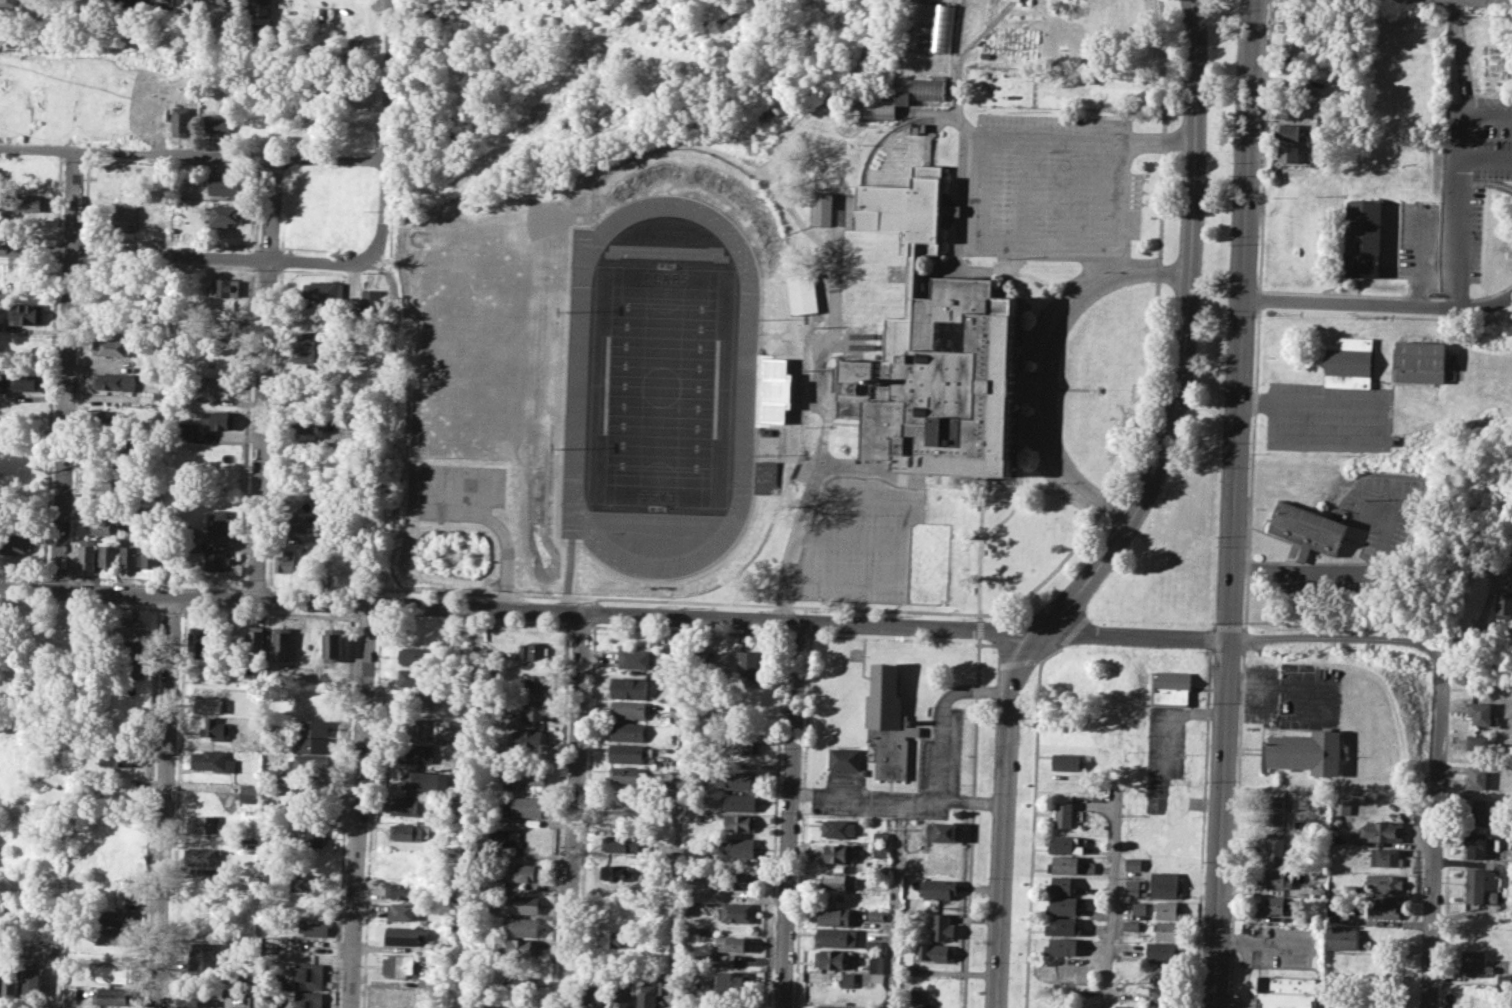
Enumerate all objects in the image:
building: (9, 0)
building: (1016, 0)
building: (31, 1)
building: (133, 2)
building: (162, 4)
building: (193, 4)
building: (110, 5)
building: (225, 5)
building: (256, 8)
building: (1288, 20)
building: (934, 27)
building: (1293, 43)
road: (966, 52)
road: (1460, 63)
building: (1292, 64)
road: (385, 79)
building: (909, 99)
building: (1285, 108)
building: (180, 121)
building: (216, 122)
road: (1473, 123)
building: (1286, 131)
road: (1052, 134)
road: (191, 154)
building: (1285, 154)
road: (1486, 159)
parking lot: (1053, 181)
road: (1497, 184)
building: (224, 185)
parking lot: (1457, 197)
building: (29, 201)
road: (382, 206)
building: (822, 207)
building: (908, 208)
building: (953, 210)
building: (125, 214)
building: (226, 215)
building: (1363, 226)
road: (1159, 230)
road: (1044, 243)
road: (982, 252)
road: (134, 254)
road: (1419, 255)
road: (322, 261)
road: (1457, 263)
road: (1013, 272)
building: (225, 287)
building: (804, 290)
building: (324, 291)
building: (372, 302)
road: (1349, 304)
road: (395, 306)
building: (23, 312)
road: (1025, 314)
road: (493, 315)
road: (1257, 315)
building: (1, 326)
road: (832, 330)
building: (312, 338)
building: (112, 346)
building: (308, 356)
building: (1346, 361)
building: (1420, 361)
road: (1049, 365)
road: (65, 371)
park: (673, 376)
track: (599, 377)
road: (264, 378)
track: (675, 378)
building: (19, 380)
building: (112, 381)
building: (942, 382)
building: (217, 383)
building: (574, 385)
stadium: (574, 385)
road: (1060, 386)
flagpole: (1083, 388)
parking lot: (467, 389)
building: (772, 391)
stadium: (772, 391)
road: (1147, 391)
park: (1192, 394)
building: (105, 417)
building: (219, 417)
building: (310, 423)
building: (186, 431)
road: (1364, 440)
building: (103, 445)
road: (446, 447)
road: (522, 458)
building: (766, 475)
building: (573, 478)
building: (103, 482)
road: (1006, 485)
road: (811, 493)
road: (1234, 504)
building: (140, 505)
road: (532, 506)
road: (551, 509)
road: (982, 516)
road: (1130, 518)
building: (217, 522)
building: (304, 524)
building: (102, 527)
road: (501, 527)
building: (1307, 528)
parking lot: (857, 540)
building: (15, 543)
building: (196, 546)
building: (87, 552)
building: (108, 556)
building: (128, 556)
building: (149, 556)
building: (216, 560)
building: (285, 562)
road: (1343, 571)
road: (511, 578)
road: (681, 600)
building: (1504, 604)
road: (1006, 606)
road: (979, 616)
road: (1480, 616)
road: (722, 618)
building: (128, 626)
road: (979, 628)
road: (1243, 639)
building: (199, 642)
building: (255, 643)
building: (282, 643)
building: (332, 644)
building: (530, 650)
road: (1225, 651)
road: (1241, 652)
building: (413, 654)
building: (636, 656)
building: (747, 662)
building: (128, 668)
building: (411, 677)
building: (532, 684)
building: (628, 686)
building: (1169, 687)
parking lot: (1293, 694)
building: (320, 695)
building: (415, 697)
building: (211, 705)
building: (628, 709)
building: (530, 711)
building: (1480, 711)
road: (941, 713)
building: (888, 722)
building: (313, 726)
building: (411, 726)
building: (215, 728)
building: (626, 731)
building: (528, 737)
building: (17, 742)
building: (1479, 744)
building: (312, 745)
building: (741, 746)
parking lot: (939, 751)
building: (629, 752)
building: (1304, 752)
building: (415, 753)
parking lot: (1163, 754)
building: (118, 757)
building: (845, 759)
building: (212, 761)
building: (1066, 761)
building: (311, 763)
building: (16, 766)
building: (527, 774)
building: (627, 774)
building: (1476, 775)
building: (737, 780)
building: (424, 782)
building: (15, 790)
building: (250, 792)
road: (899, 798)
building: (739, 801)
road: (162, 802)
building: (523, 805)
building: (1341, 805)
road: (360, 806)
building: (408, 806)
road: (573, 809)
building: (621, 809)
building: (1276, 809)
building: (1478, 811)
road: (679, 812)
building: (1063, 813)
road: (790, 815)
building: (740, 822)
road: (971, 822)
building: (204, 824)
building: (838, 828)
road: (1201, 828)
road: (1235, 830)
building: (1382, 830)
road: (1434, 830)
building: (411, 831)
building: (944, 831)
building: (315, 833)
building: (881, 836)
building: (504, 839)
building: (621, 842)
building: (1477, 844)
building: (1064, 845)
building: (735, 847)
building: (1275, 849)
building: (880, 850)
building: (839, 852)
building: (202, 856)
building: (1384, 857)
building: (1132, 863)
building: (1064, 865)
building: (1088, 867)
building: (523, 873)
building: (619, 873)
building: (1275, 878)
building: (736, 880)
building: (840, 881)
building: (1385, 882)
building: (305, 883)
building: (1061, 885)
building: (1164, 885)
building: (1474, 885)
building: (1132, 887)
building: (939, 888)
building: (404, 890)
road: (1112, 893)
building: (524, 902)
road: (894, 903)
building: (619, 905)
building: (690, 906)
building: (1061, 906)
building: (1274, 906)
building: (1167, 909)
building: (1384, 909)
building: (405, 911)
building: (735, 911)
building: (876, 915)
building: (838, 916)
building: (115, 917)
building: (1131, 924)
building: (523, 925)
building: (942, 926)
building: (1064, 926)
building: (315, 927)
building: (1165, 930)
building: (406, 934)
building: (113, 935)
building: (836, 937)
building: (1343, 938)
building: (617, 939)
building: (875, 941)
road: (1262, 942)
building: (734, 943)
parking lot: (1279, 944)
building: (447, 946)
building: (524, 946)
building: (1062, 946)
building: (1160, 950)
building: (936, 952)
building: (202, 956)
building: (832, 958)
building: (727, 960)
building: (876, 961)
building: (1476, 963)
building: (398, 965)
building: (907, 969)
building: (1061, 971)
building: (112, 973)
building: (310, 974)
building: (847, 979)
building: (9, 981)
building: (31, 981)
building: (733, 981)
building: (1505, 981)
building: (520, 983)
building: (1162, 985)
building: (1285, 991)
building: (650, 992)
flagpole: (1239, 993)
building: (111, 995)
building: (619, 995)
building: (915, 995)
building: (391, 996)
building: (593, 996)
building: (308, 999)
building: (189, 1002)
building: (732, 1005)
building: (840, 1006)
building: (1156, 1007)

